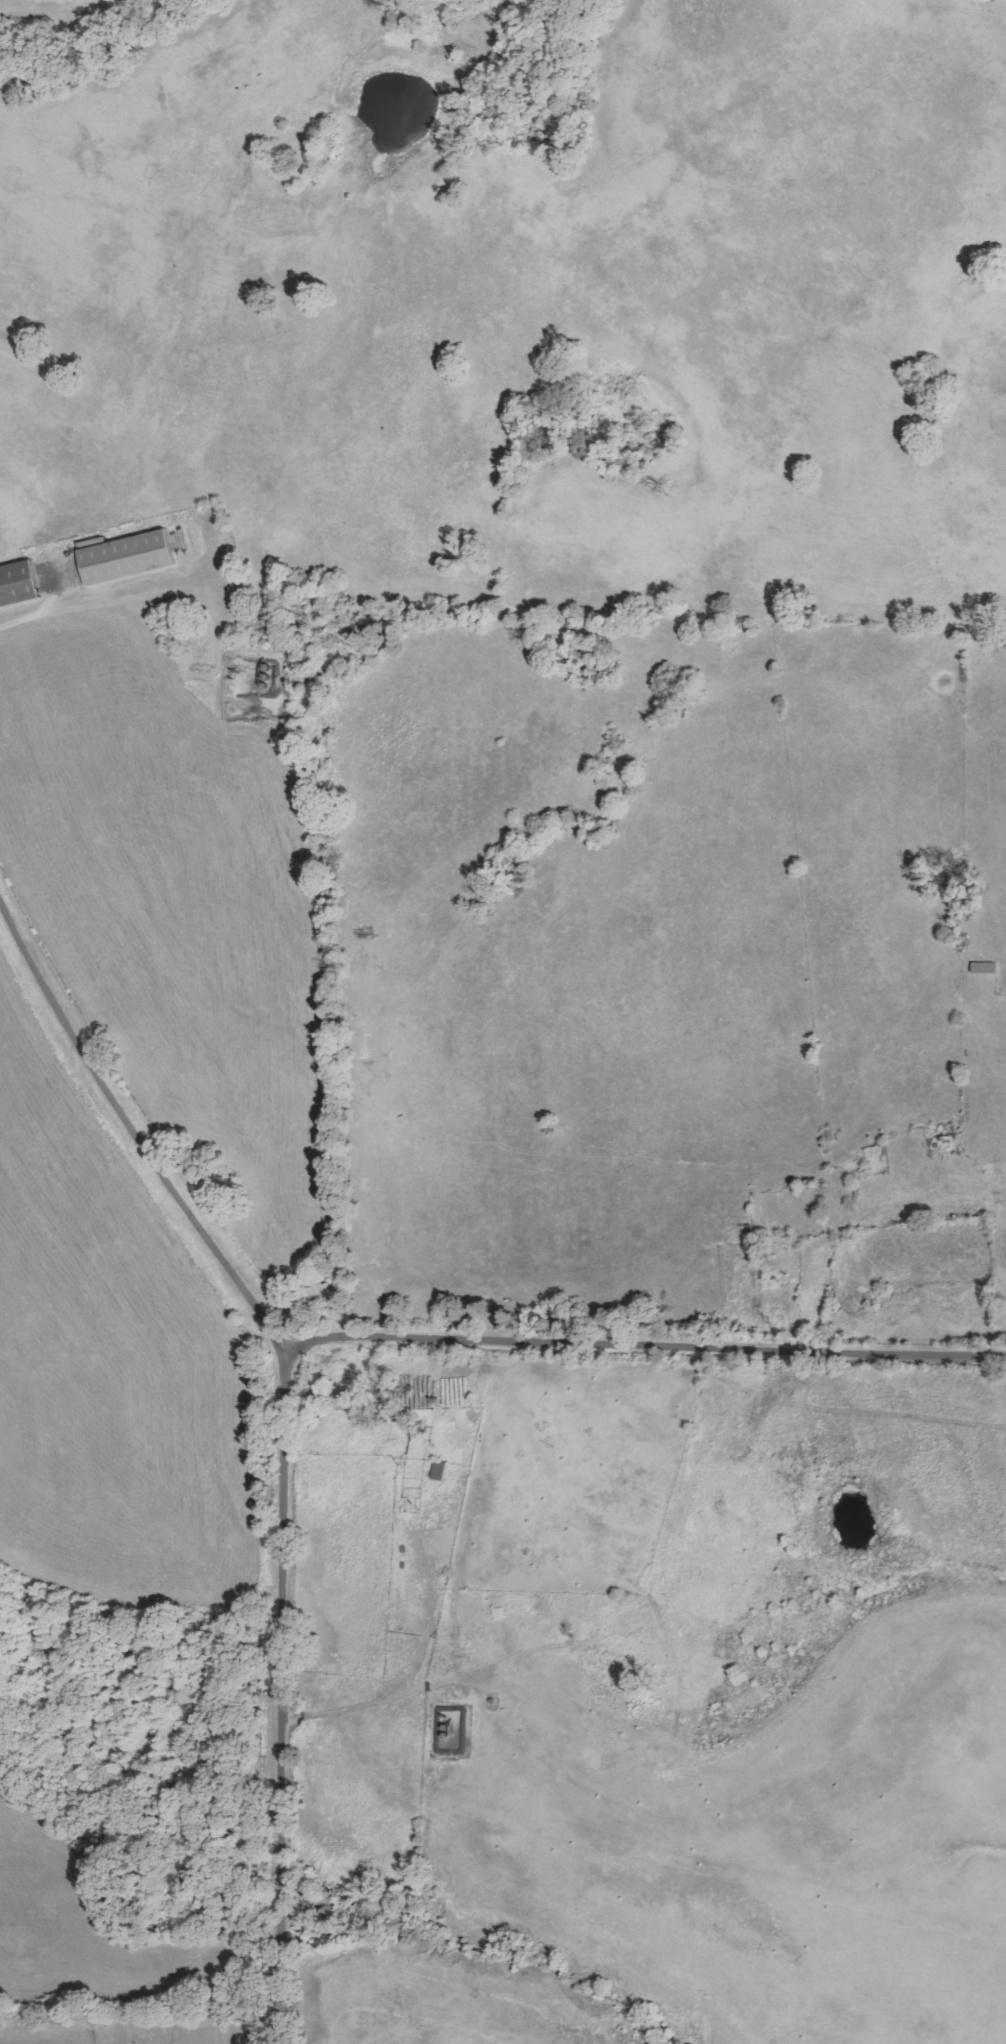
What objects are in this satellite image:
building: (127, 556)
building: (19, 584)
road: (641, 1344)
road: (280, 1433)
building: (440, 1471)

